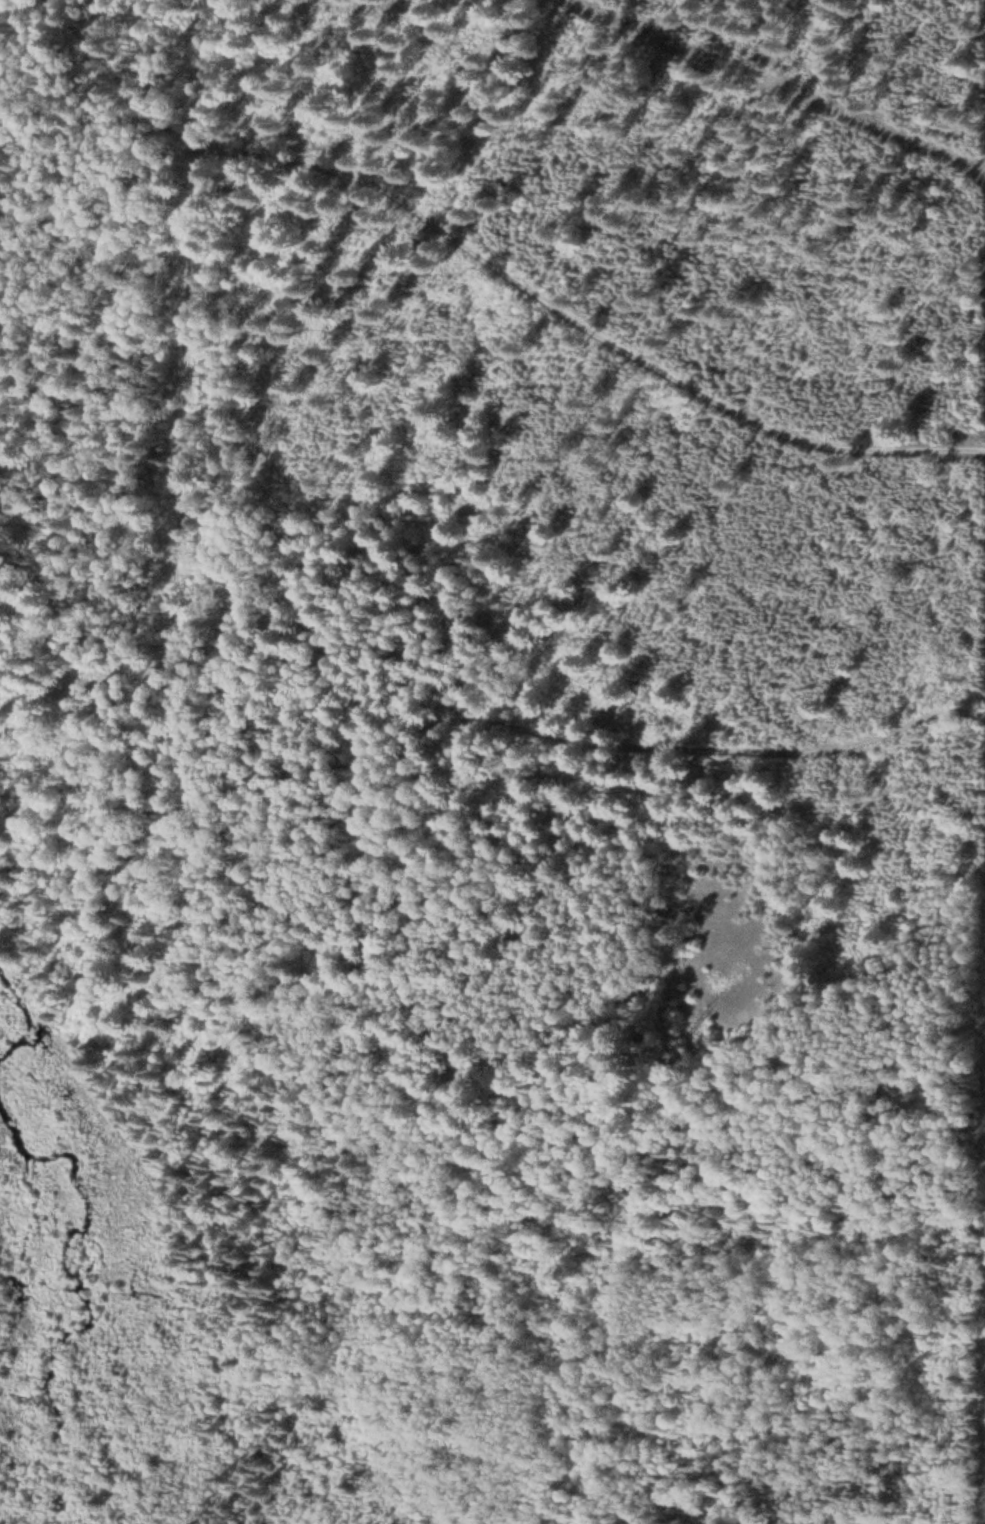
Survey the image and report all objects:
road: (159, 102)
road: (613, 324)
road: (624, 731)
road: (141, 757)

